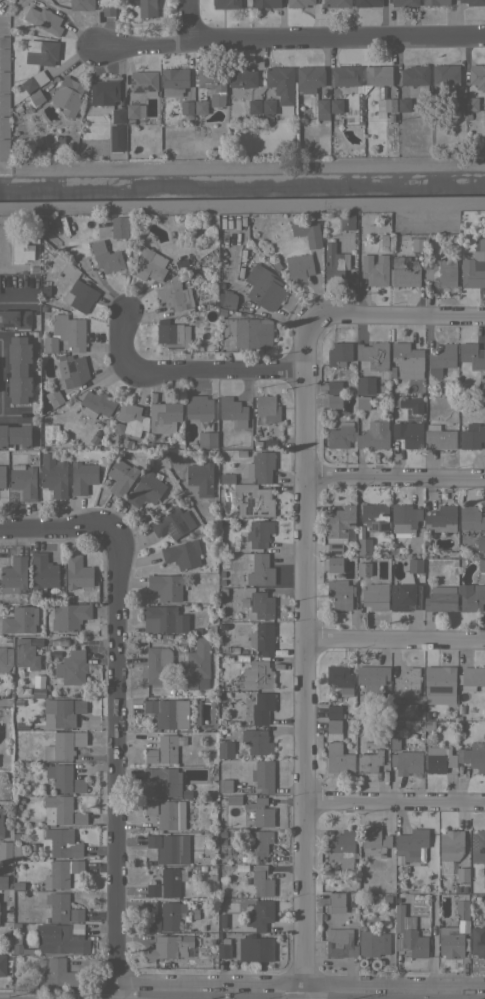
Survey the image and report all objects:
building: (404, 2)
building: (435, 2)
building: (473, 2)
building: (225, 3)
building: (266, 3)
building: (298, 3)
building: (336, 3)
building: (367, 3)
building: (81, 4)
building: (108, 9)
building: (143, 9)
building: (43, 20)
road: (186, 21)
building: (4, 40)
road: (290, 40)
building: (40, 52)
building: (4, 59)
building: (476, 74)
building: (376, 76)
building: (415, 76)
building: (241, 77)
building: (346, 77)
building: (309, 78)
building: (444, 78)
building: (33, 80)
building: (4, 81)
building: (173, 81)
building: (143, 82)
building: (212, 84)
building: (281, 87)
building: (103, 92)
building: (67, 96)
building: (35, 97)
building: (456, 103)
building: (4, 104)
building: (403, 104)
building: (471, 104)
building: (254, 106)
building: (268, 106)
building: (384, 106)
building: (186, 107)
building: (200, 107)
building: (335, 108)
building: (106, 109)
building: (321, 109)
building: (135, 110)
building: (117, 115)
building: (391, 117)
building: (130, 121)
building: (4, 127)
building: (288, 133)
building: (388, 137)
building: (112, 139)
building: (59, 142)
building: (4, 149)
building: (44, 151)
building: (346, 221)
building: (119, 227)
building: (307, 231)
building: (378, 237)
building: (417, 244)
building: (20, 250)
building: (104, 257)
building: (299, 261)
building: (334, 262)
building: (148, 265)
building: (474, 266)
building: (374, 269)
building: (441, 271)
building: (404, 272)
building: (44, 289)
building: (266, 290)
building: (79, 295)
building: (174, 295)
road: (11, 300)
building: (229, 300)
building: (43, 307)
building: (219, 310)
road: (398, 316)
building: (14, 319)
building: (249, 332)
building: (74, 334)
building: (173, 335)
building: (49, 343)
building: (338, 354)
building: (373, 355)
building: (472, 355)
building: (441, 359)
building: (407, 360)
building: (18, 369)
building: (70, 371)
building: (392, 371)
road: (4, 373)
road: (185, 375)
building: (365, 384)
building: (334, 387)
building: (481, 389)
building: (54, 397)
building: (334, 401)
building: (361, 402)
building: (394, 402)
building: (96, 404)
building: (411, 404)
building: (267, 408)
building: (233, 411)
road: (2, 414)
building: (149, 417)
building: (202, 419)
building: (118, 427)
building: (408, 433)
building: (15, 435)
building: (341, 435)
building: (373, 435)
building: (472, 436)
building: (438, 437)
building: (125, 443)
building: (257, 443)
building: (241, 453)
building: (261, 466)
building: (53, 475)
building: (2, 476)
building: (120, 476)
road: (395, 476)
building: (82, 477)
building: (200, 478)
building: (227, 478)
building: (23, 480)
building: (146, 488)
building: (254, 500)
building: (441, 515)
building: (375, 516)
building: (404, 517)
building: (471, 518)
building: (340, 521)
building: (172, 523)
road: (55, 529)
building: (259, 533)
building: (480, 542)
building: (364, 546)
building: (334, 548)
building: (182, 554)
building: (452, 554)
building: (484, 554)
building: (219, 560)
building: (429, 562)
building: (334, 564)
building: (414, 565)
building: (481, 565)
building: (363, 569)
building: (260, 570)
building: (43, 571)
building: (77, 572)
building: (13, 574)
building: (166, 586)
building: (222, 591)
building: (340, 593)
building: (375, 596)
building: (404, 596)
building: (472, 598)
building: (68, 599)
building: (440, 599)
building: (245, 602)
building: (262, 605)
building: (69, 616)
building: (165, 619)
building: (19, 620)
building: (165, 636)
building: (262, 638)
road: (395, 641)
building: (25, 654)
road: (304, 657)
building: (5, 658)
building: (158, 665)
building: (197, 665)
building: (71, 667)
building: (260, 673)
building: (372, 676)
building: (471, 678)
building: (340, 679)
building: (407, 682)
building: (439, 684)
building: (46, 686)
building: (245, 686)
building: (40, 692)
road: (4, 698)
building: (18, 701)
building: (79, 706)
building: (262, 707)
building: (403, 709)
building: (460, 709)
building: (334, 711)
building: (167, 712)
building: (58, 713)
building: (426, 715)
building: (21, 724)
building: (395, 726)
building: (227, 727)
building: (212, 728)
building: (79, 738)
building: (257, 741)
building: (394, 743)
building: (60, 746)
building: (169, 747)
building: (225, 749)
building: (336, 749)
building: (150, 755)
building: (473, 756)
building: (439, 759)
building: (370, 760)
building: (407, 760)
road: (112, 764)
building: (263, 775)
building: (60, 776)
building: (164, 780)
building: (79, 785)
building: (225, 785)
building: (19, 798)
building: (233, 799)
road: (394, 804)
building: (19, 805)
building: (150, 807)
building: (59, 808)
building: (260, 812)
building: (169, 815)
building: (79, 818)
building: (1, 822)
building: (222, 833)
building: (15, 836)
building: (375, 840)
building: (222, 841)
building: (61, 842)
building: (258, 843)
building: (450, 844)
building: (410, 845)
building: (478, 846)
building: (169, 847)
building: (341, 848)
building: (16, 849)
building: (231, 850)
building: (5, 851)
building: (13, 853)
building: (243, 858)
building: (76, 866)
building: (202, 867)
building: (212, 868)
building: (226, 870)
building: (462, 874)
building: (57, 875)
building: (484, 878)
building: (261, 880)
building: (4, 882)
building: (167, 883)
building: (18, 885)
building: (455, 888)
building: (463, 888)
building: (335, 902)
building: (57, 905)
building: (9, 912)
building: (75, 914)
building: (484, 914)
building: (171, 915)
building: (260, 915)
building: (45, 919)
building: (221, 919)
building: (153, 923)
building: (341, 924)
building: (454, 930)
building: (408, 934)
building: (59, 939)
building: (478, 941)
building: (340, 943)
building: (373, 943)
building: (166, 946)
building: (19, 947)
building: (224, 948)
building: (255, 948)
building: (41, 963)
building: (2, 964)
building: (58, 974)
road: (299, 987)

